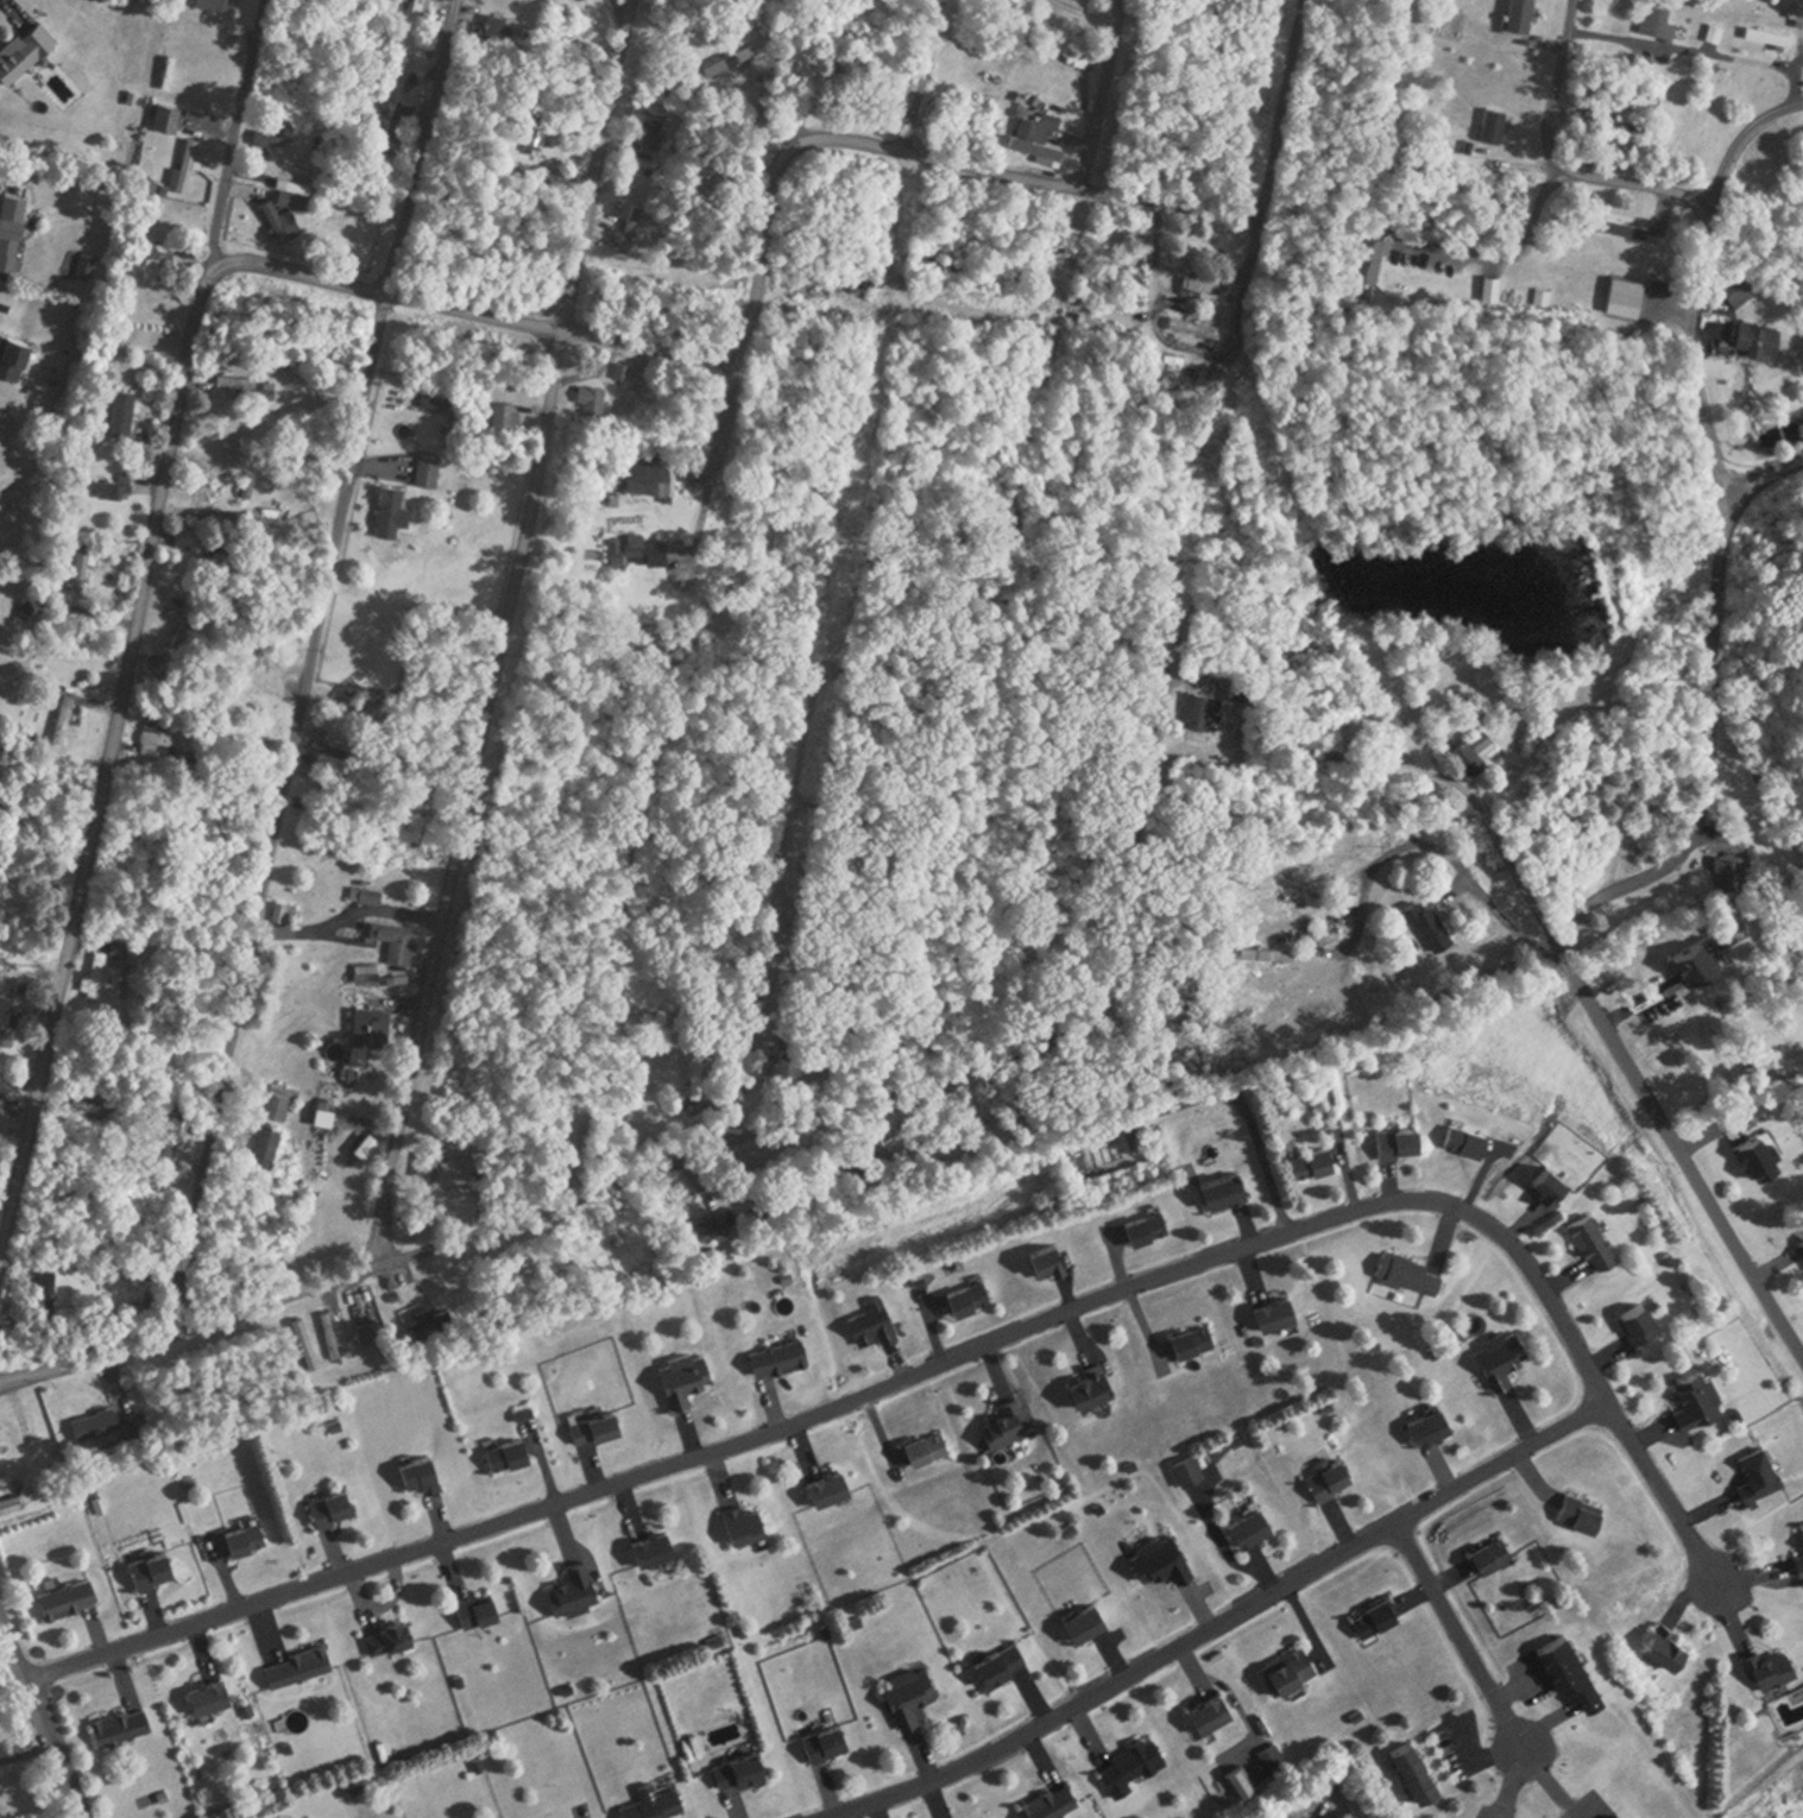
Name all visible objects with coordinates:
building: (220, 5)
building: (422, 6)
road: (10, 8)
building: (1797, 13)
building: (1659, 21)
building: (504, 27)
building: (1716, 32)
building: (20, 53)
building: (730, 59)
road: (918, 74)
road: (1095, 91)
road: (1279, 107)
building: (166, 116)
building: (399, 120)
building: (1500, 120)
building: (1616, 120)
building: (653, 126)
building: (537, 127)
building: (1039, 135)
road: (1562, 154)
building: (298, 200)
building: (282, 221)
building: (1626, 228)
building: (11, 231)
road: (1511, 253)
building: (159, 263)
building: (943, 263)
building: (1370, 263)
road: (762, 272)
building: (871, 273)
road: (1702, 279)
building: (1197, 285)
building: (1628, 289)
building: (1740, 289)
road: (1242, 303)
building: (1761, 339)
road: (720, 443)
road: (1761, 601)
road: (494, 631)
road: (139, 638)
road: (302, 669)
road: (1438, 842)
road: (1603, 901)
road: (336, 911)
road: (750, 1069)
road: (712, 1149)
road: (859, 1391)
road: (1666, 1494)
road: (1222, 1621)
road: (1463, 1633)
road: (40, 1715)
road: (26, 1751)

